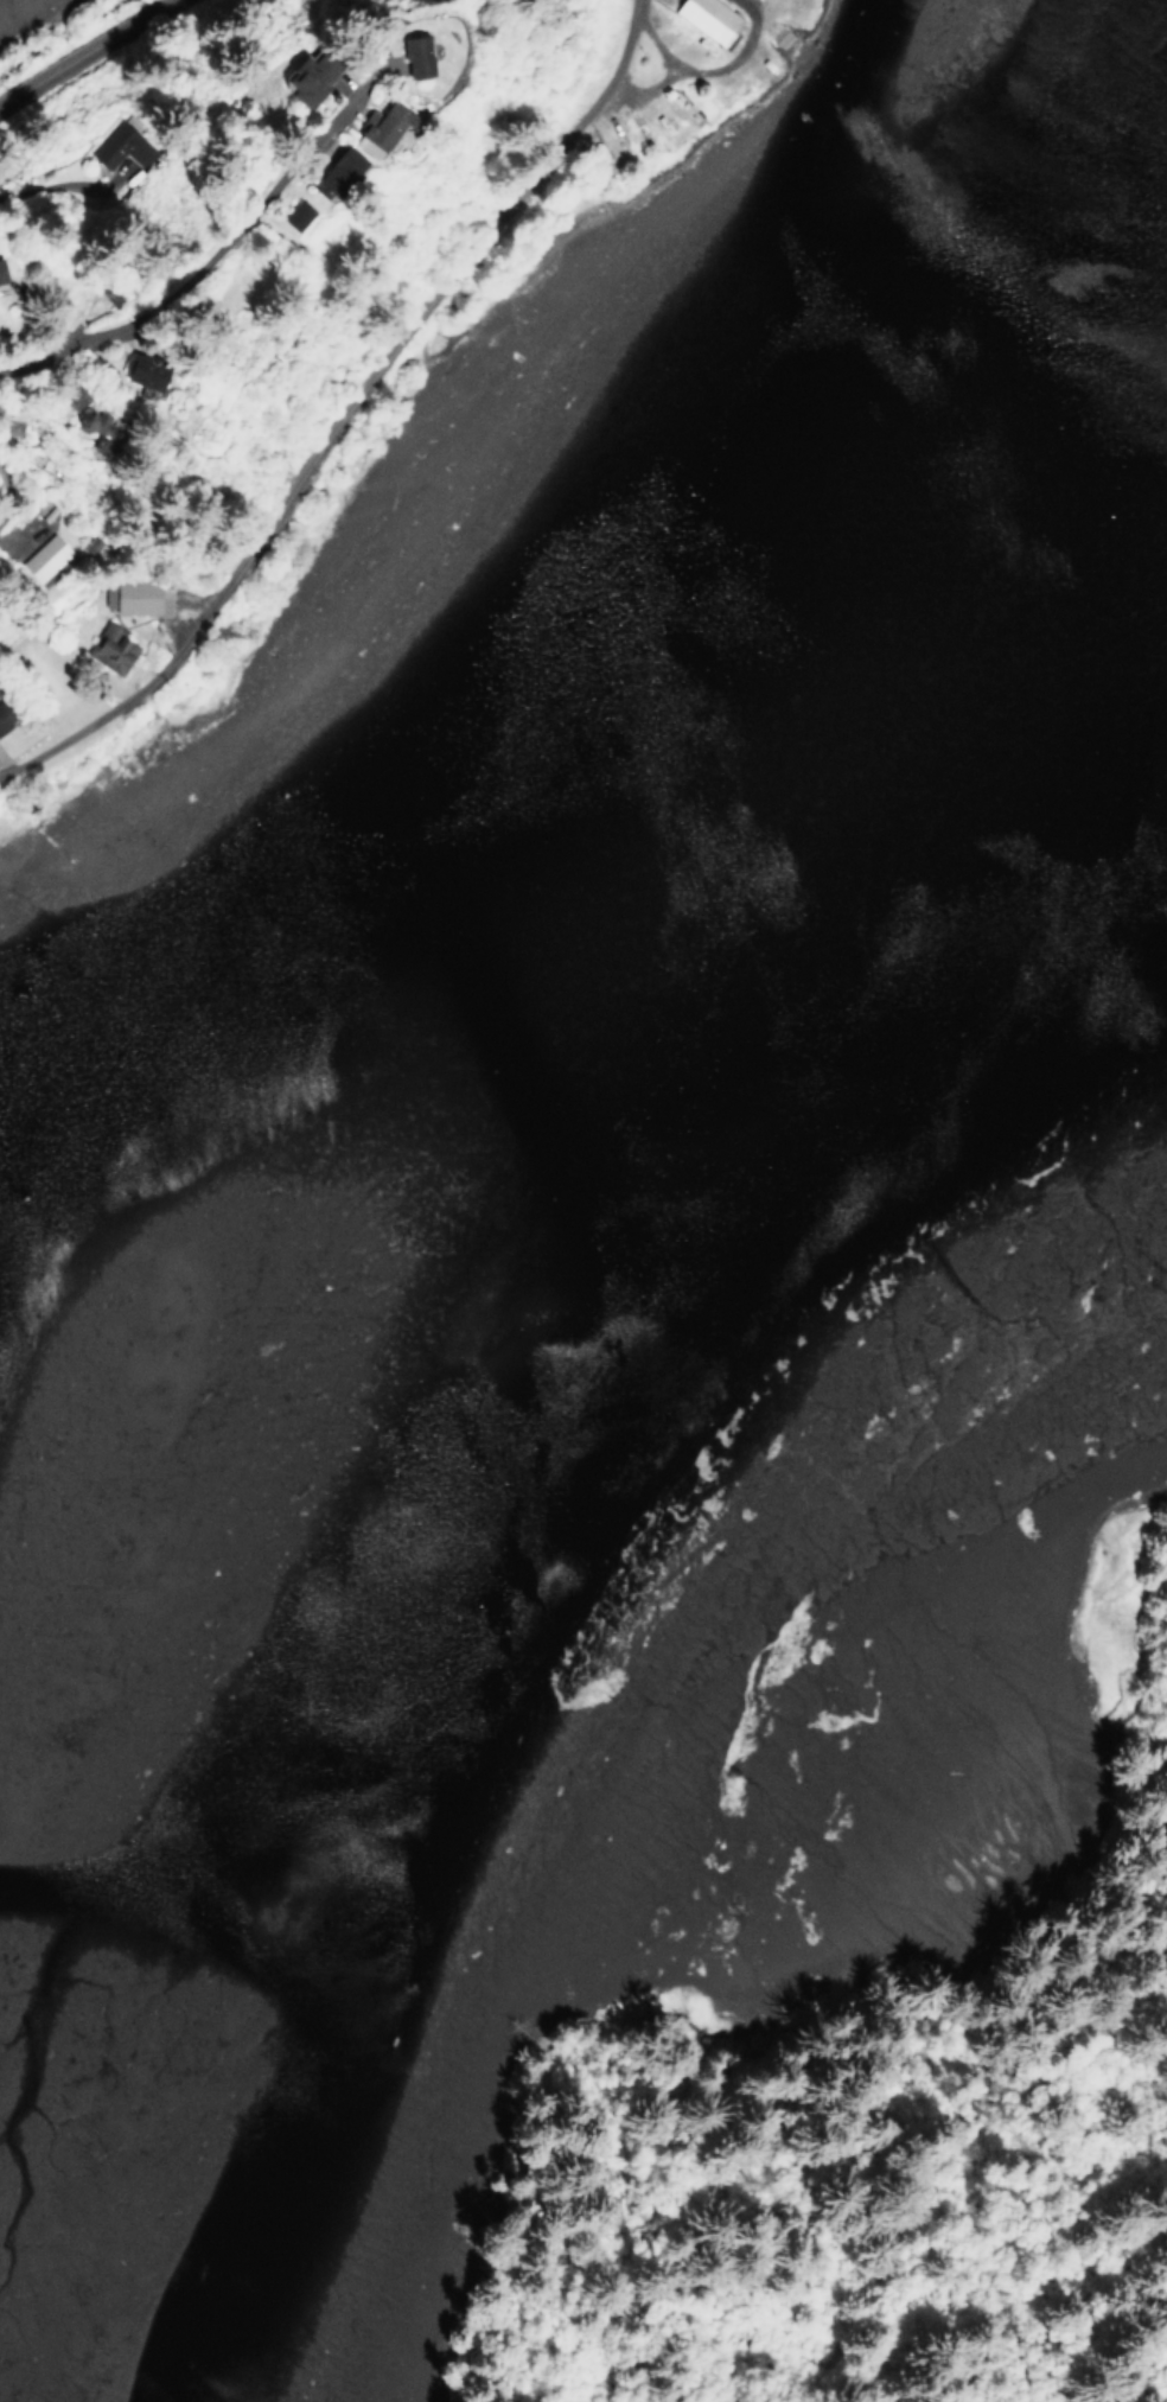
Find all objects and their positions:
building: (707, 18)
road: (74, 47)
building: (408, 52)
road: (735, 60)
building: (308, 76)
road: (612, 77)
road: (661, 79)
building: (680, 107)
building: (376, 126)
building: (336, 168)
building: (291, 215)
road: (208, 254)
building: (0, 280)
building: (139, 372)
road: (300, 479)
road: (6, 493)
building: (43, 556)
building: (133, 598)
building: (108, 649)
building: (4, 715)

